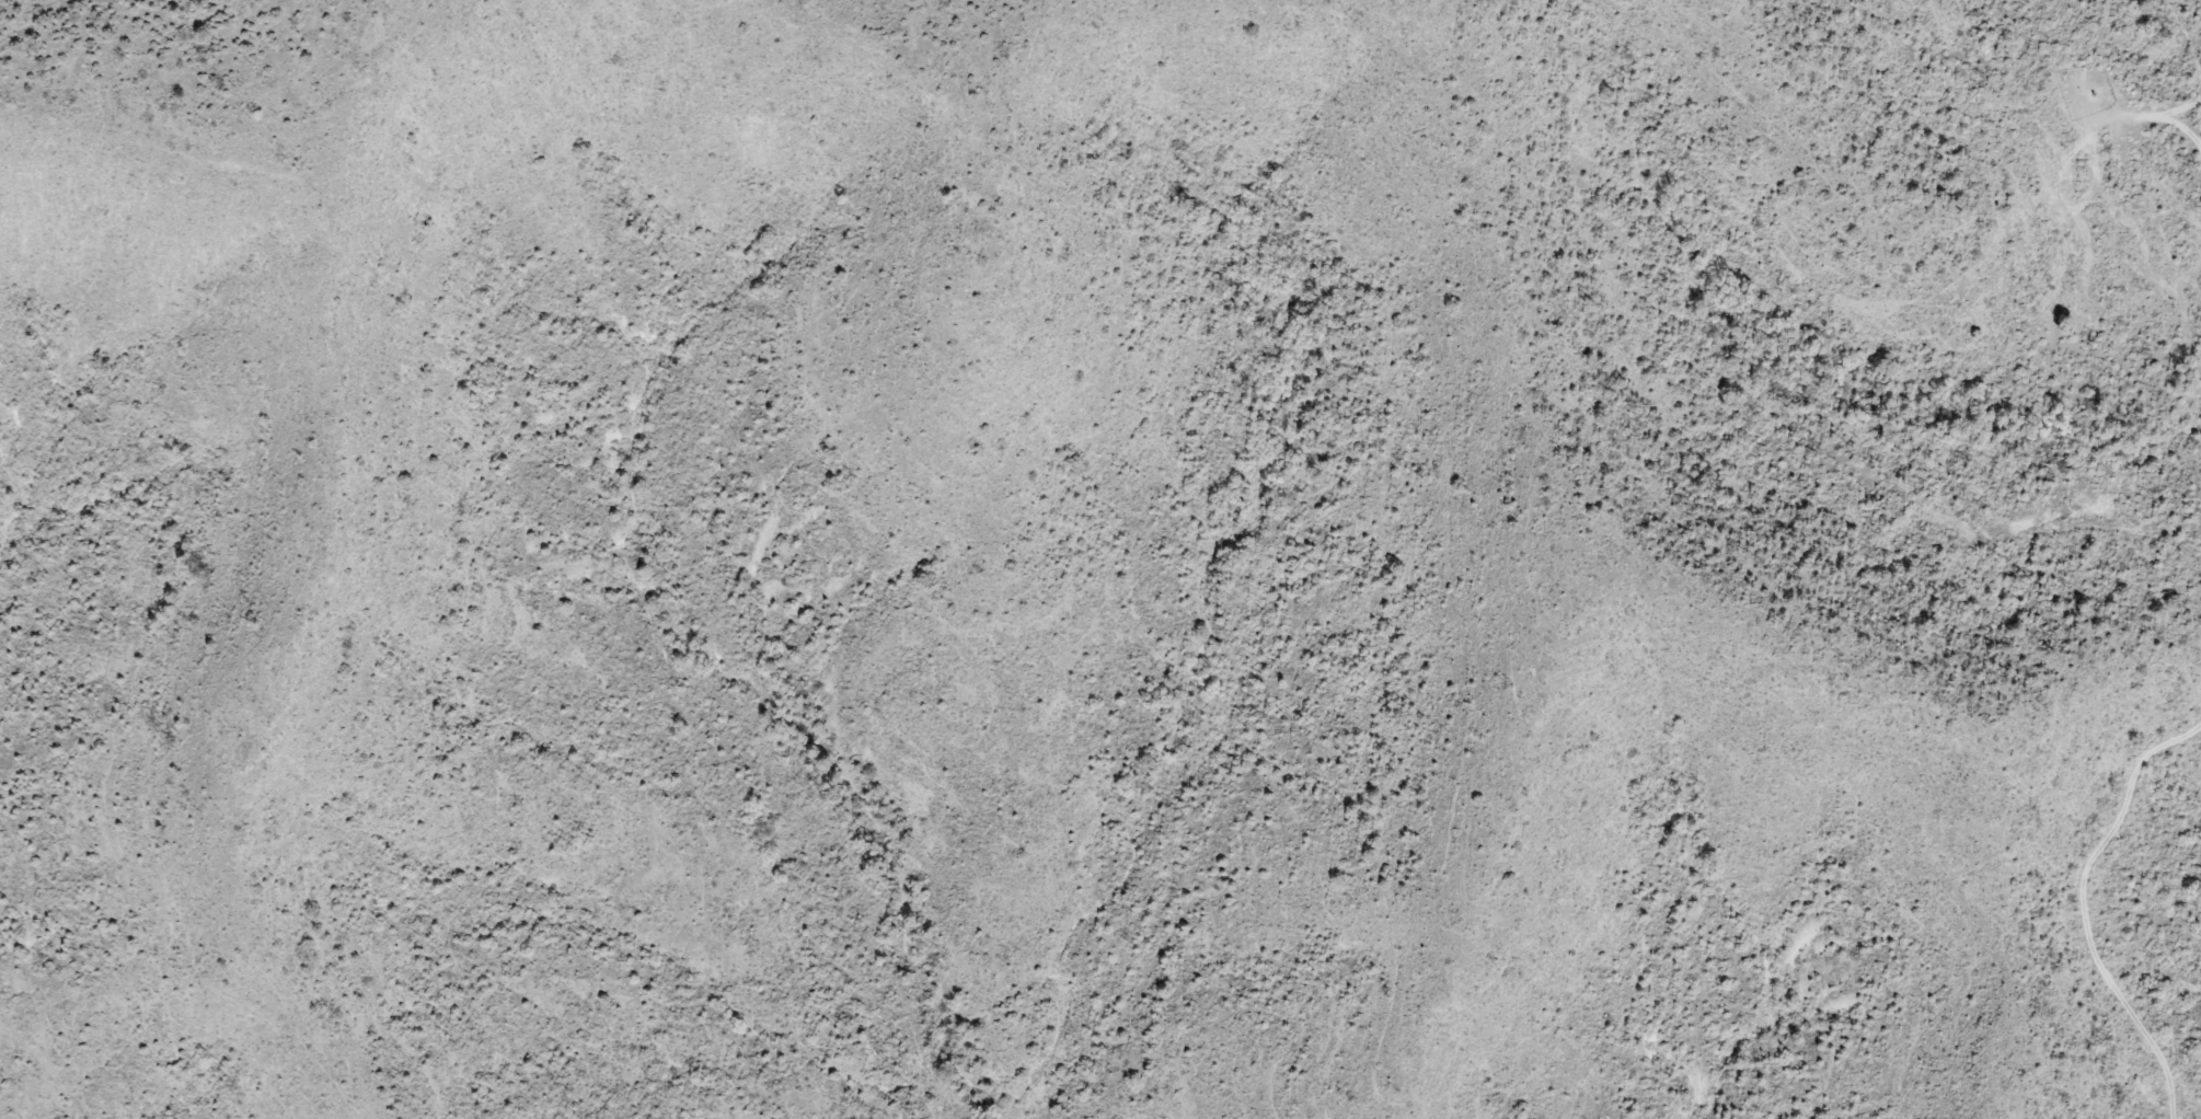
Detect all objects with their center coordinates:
road: (2086, 913)

